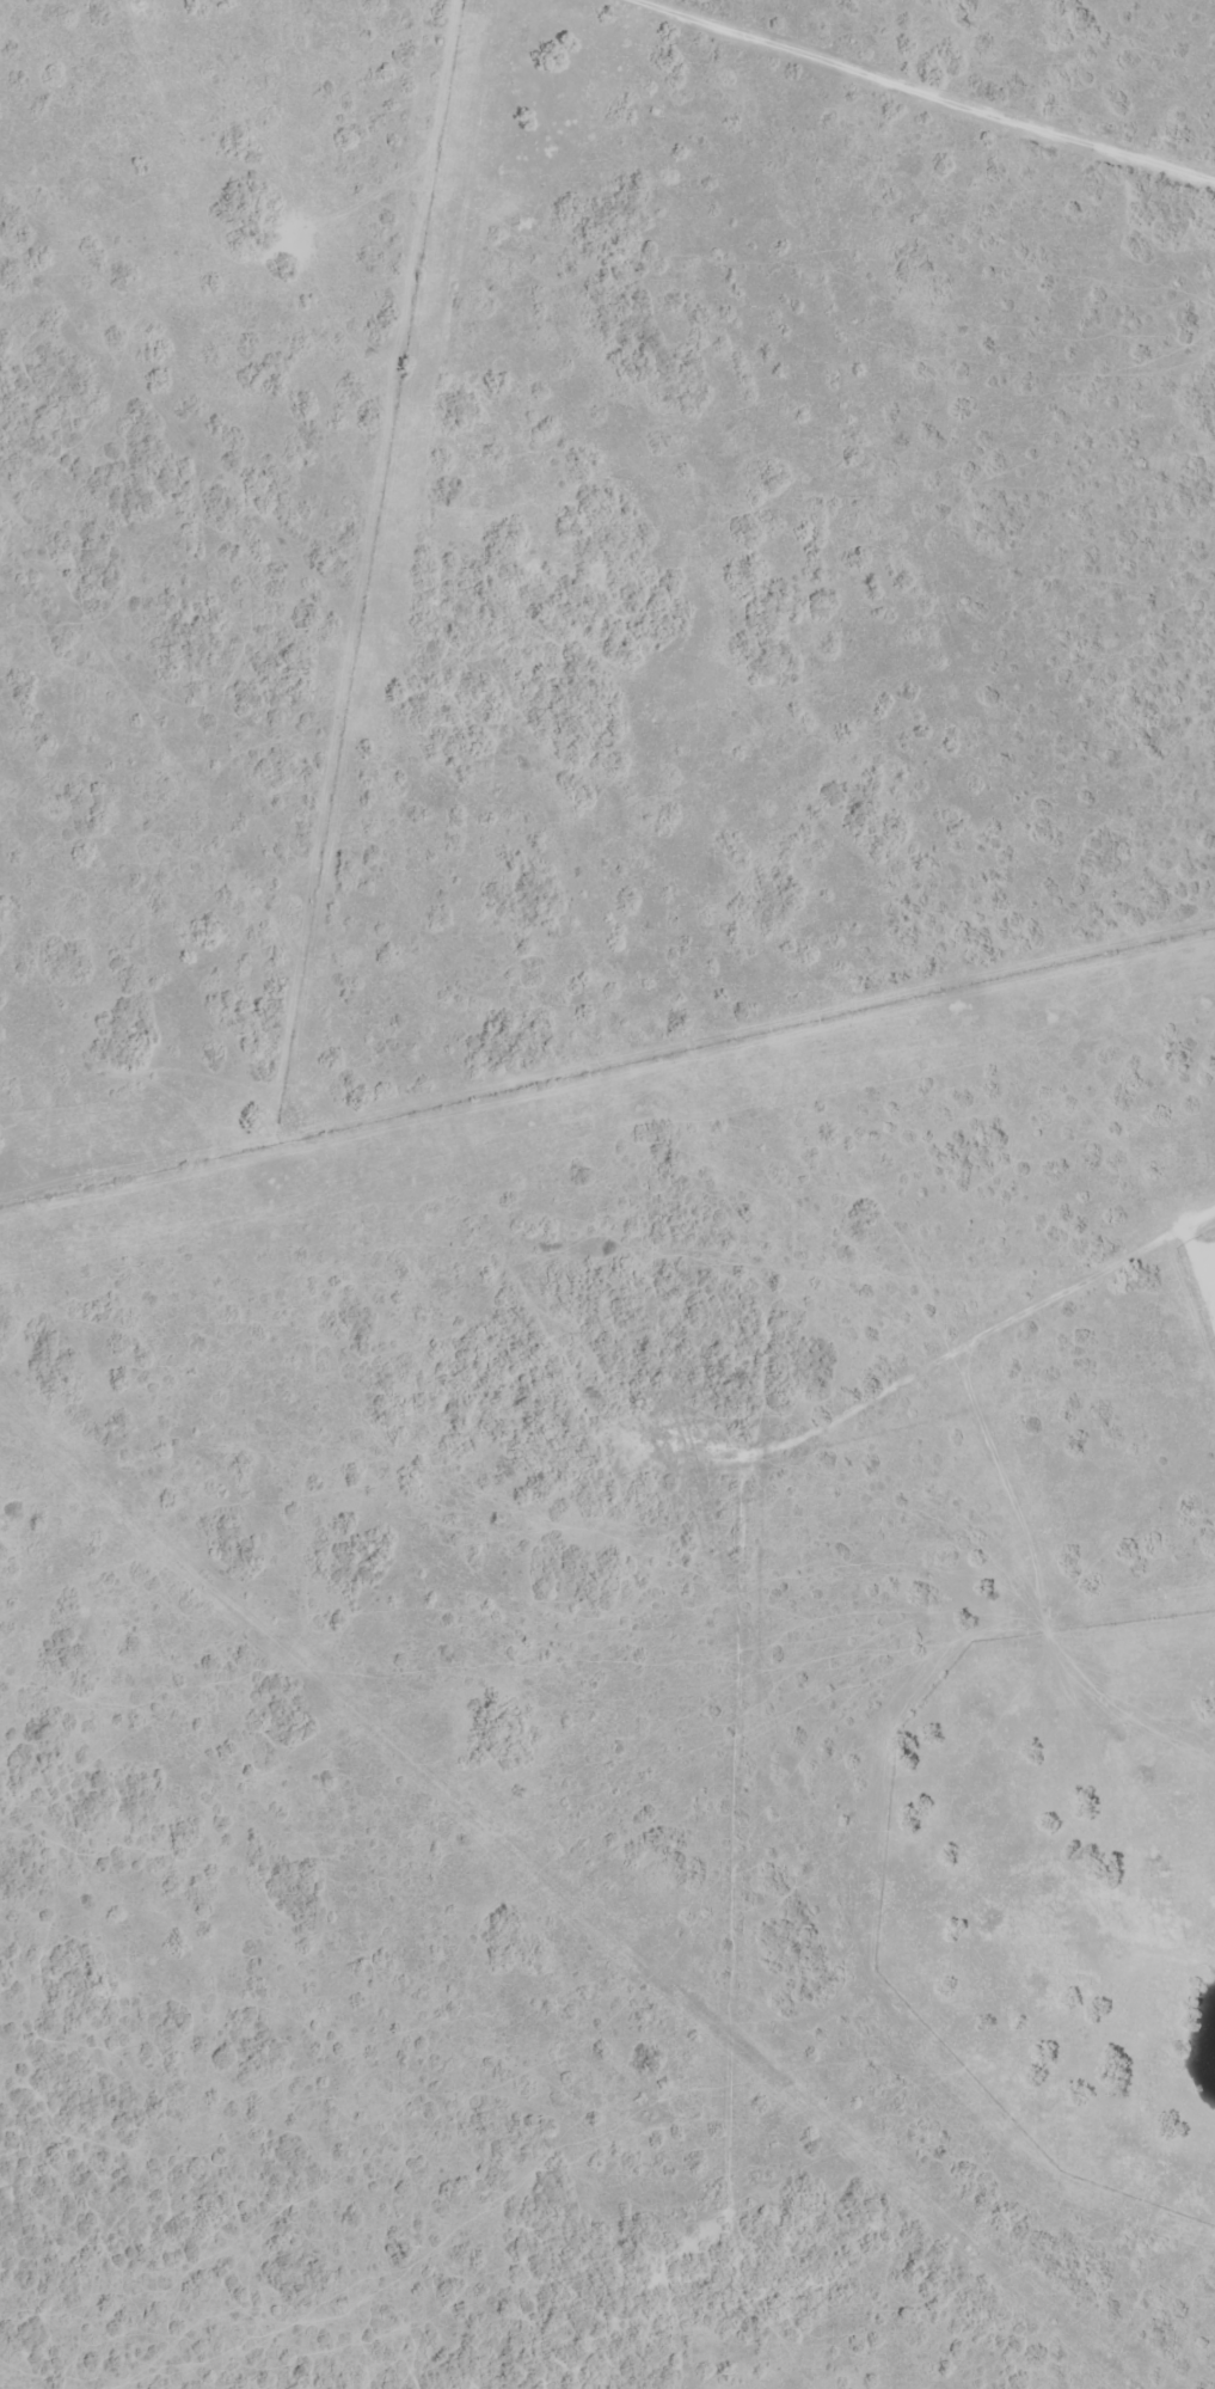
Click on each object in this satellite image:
road: (943, 90)

